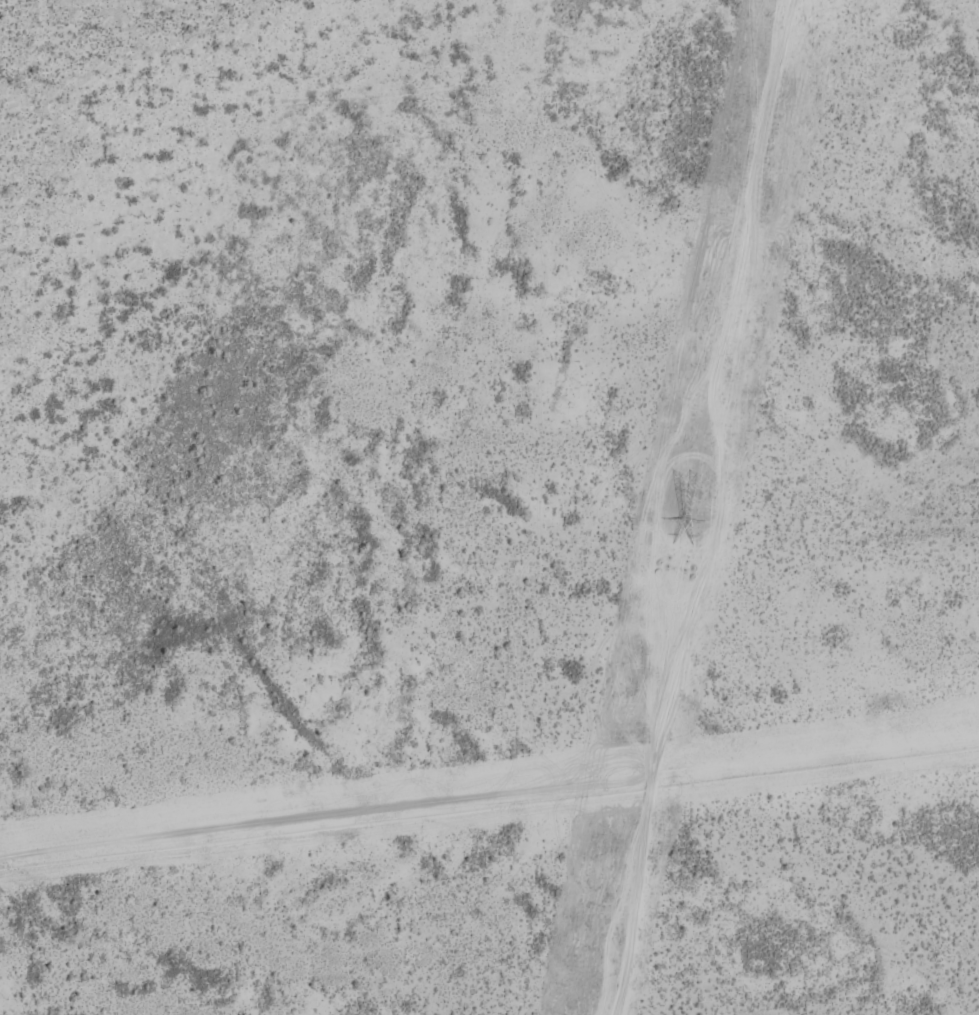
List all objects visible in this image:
power tower: (683, 571)

